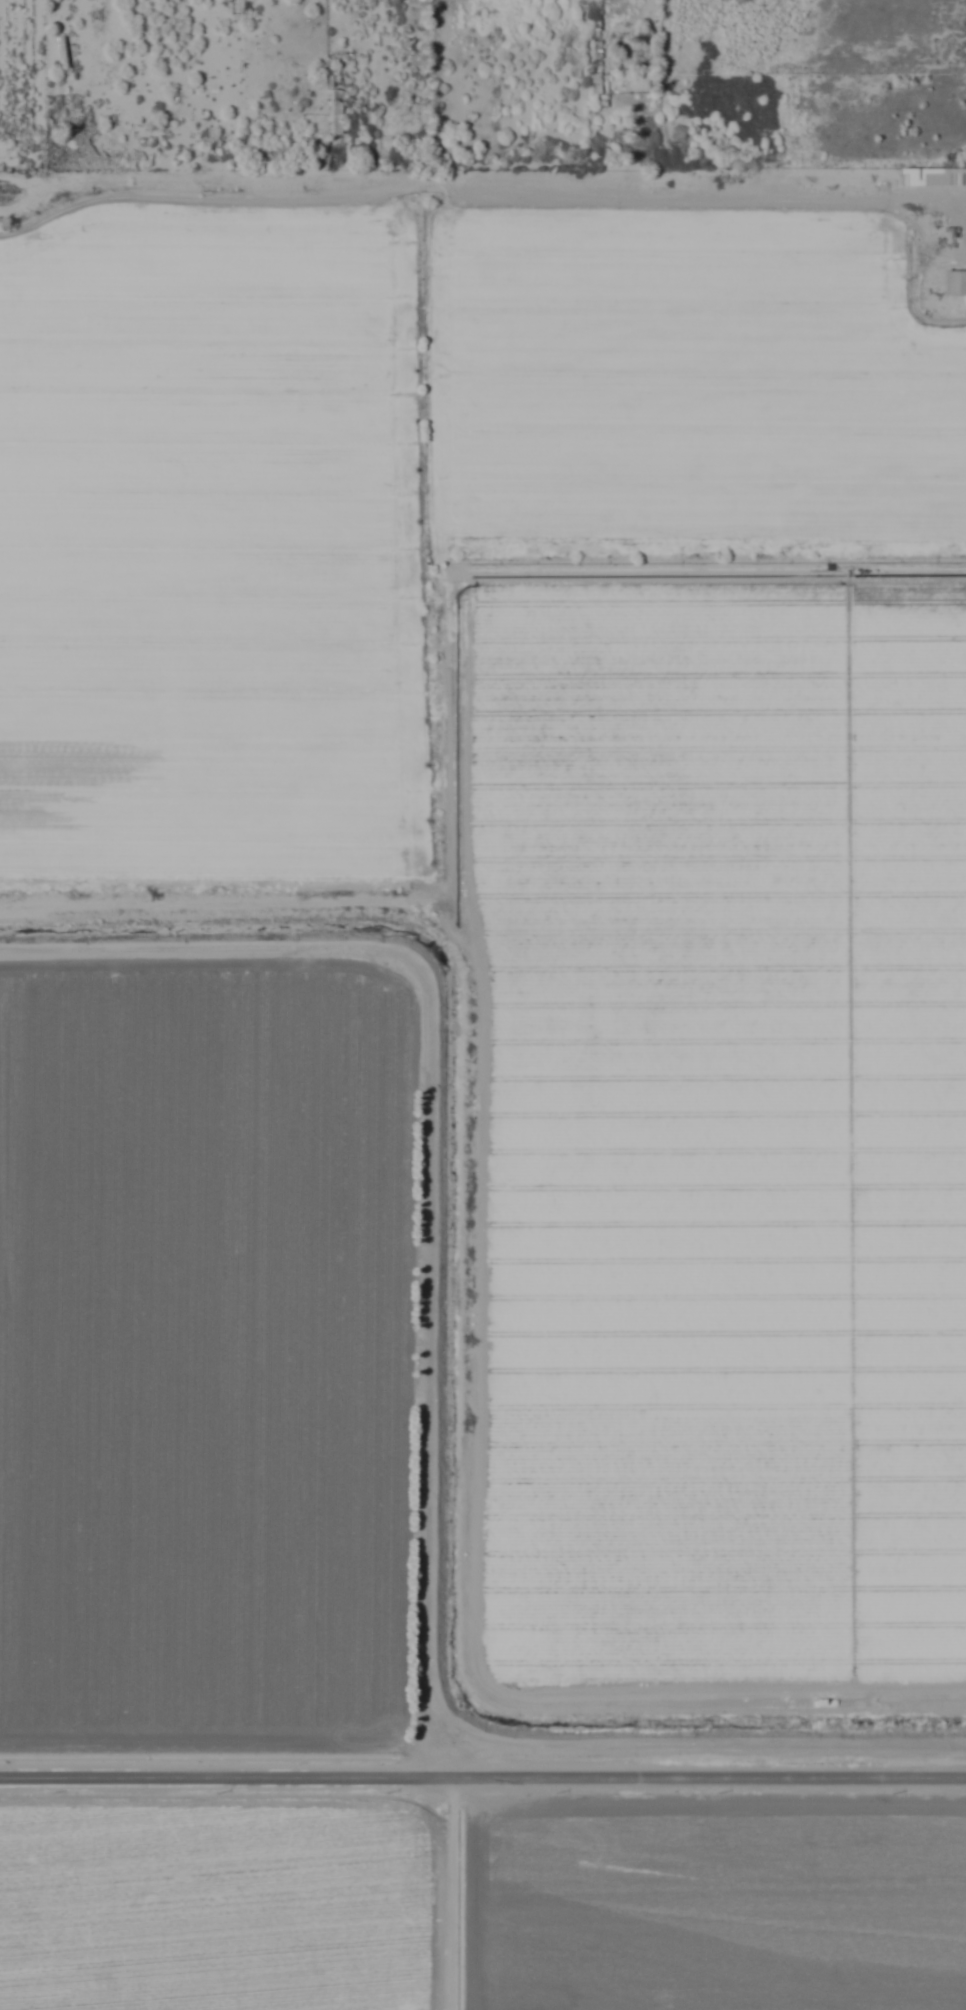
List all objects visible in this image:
building: (333, 112)
building: (934, 177)
building: (956, 283)
road: (482, 1773)

